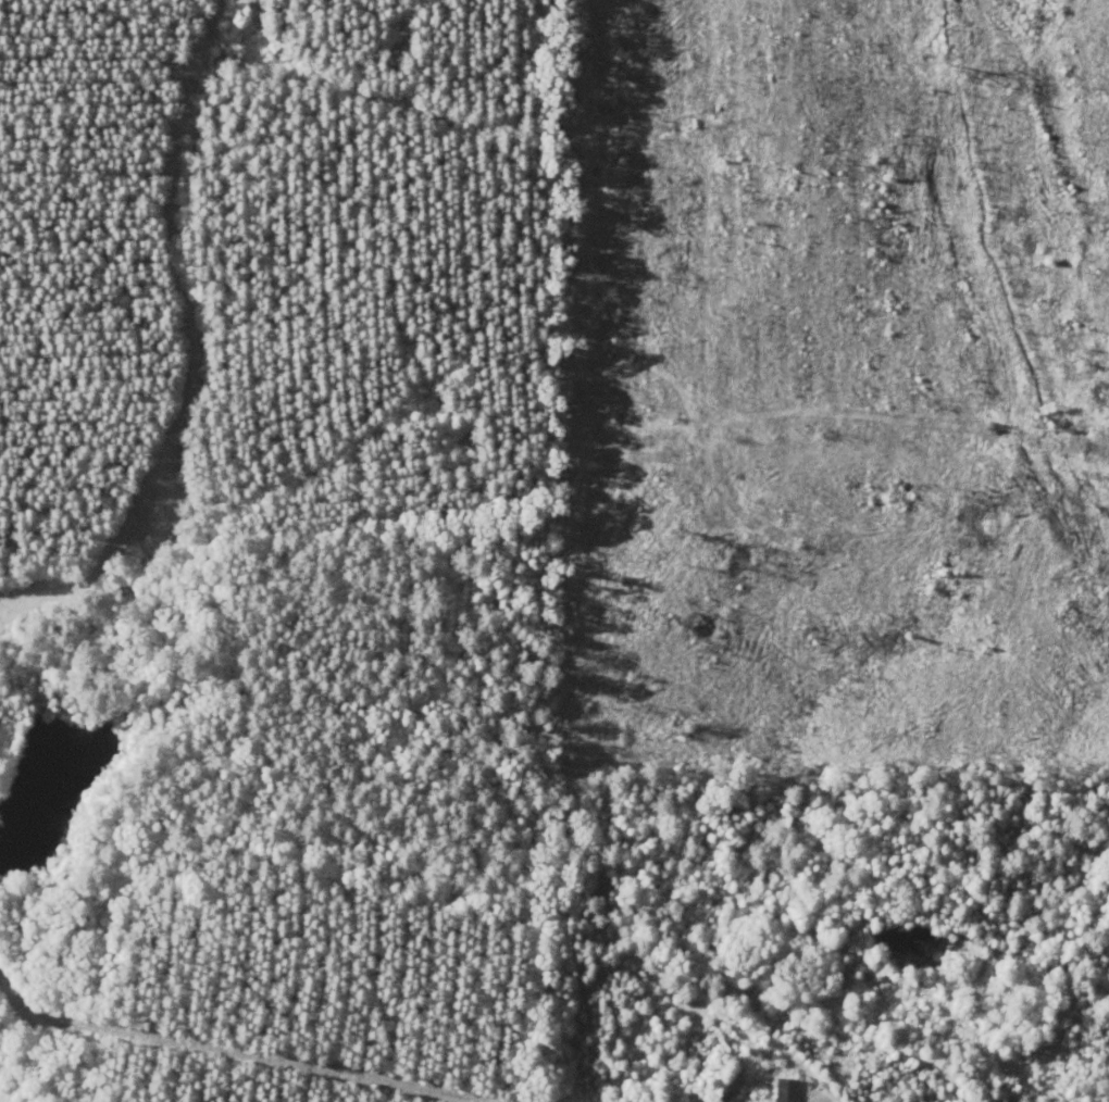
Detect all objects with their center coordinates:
building: (782, 1090)

